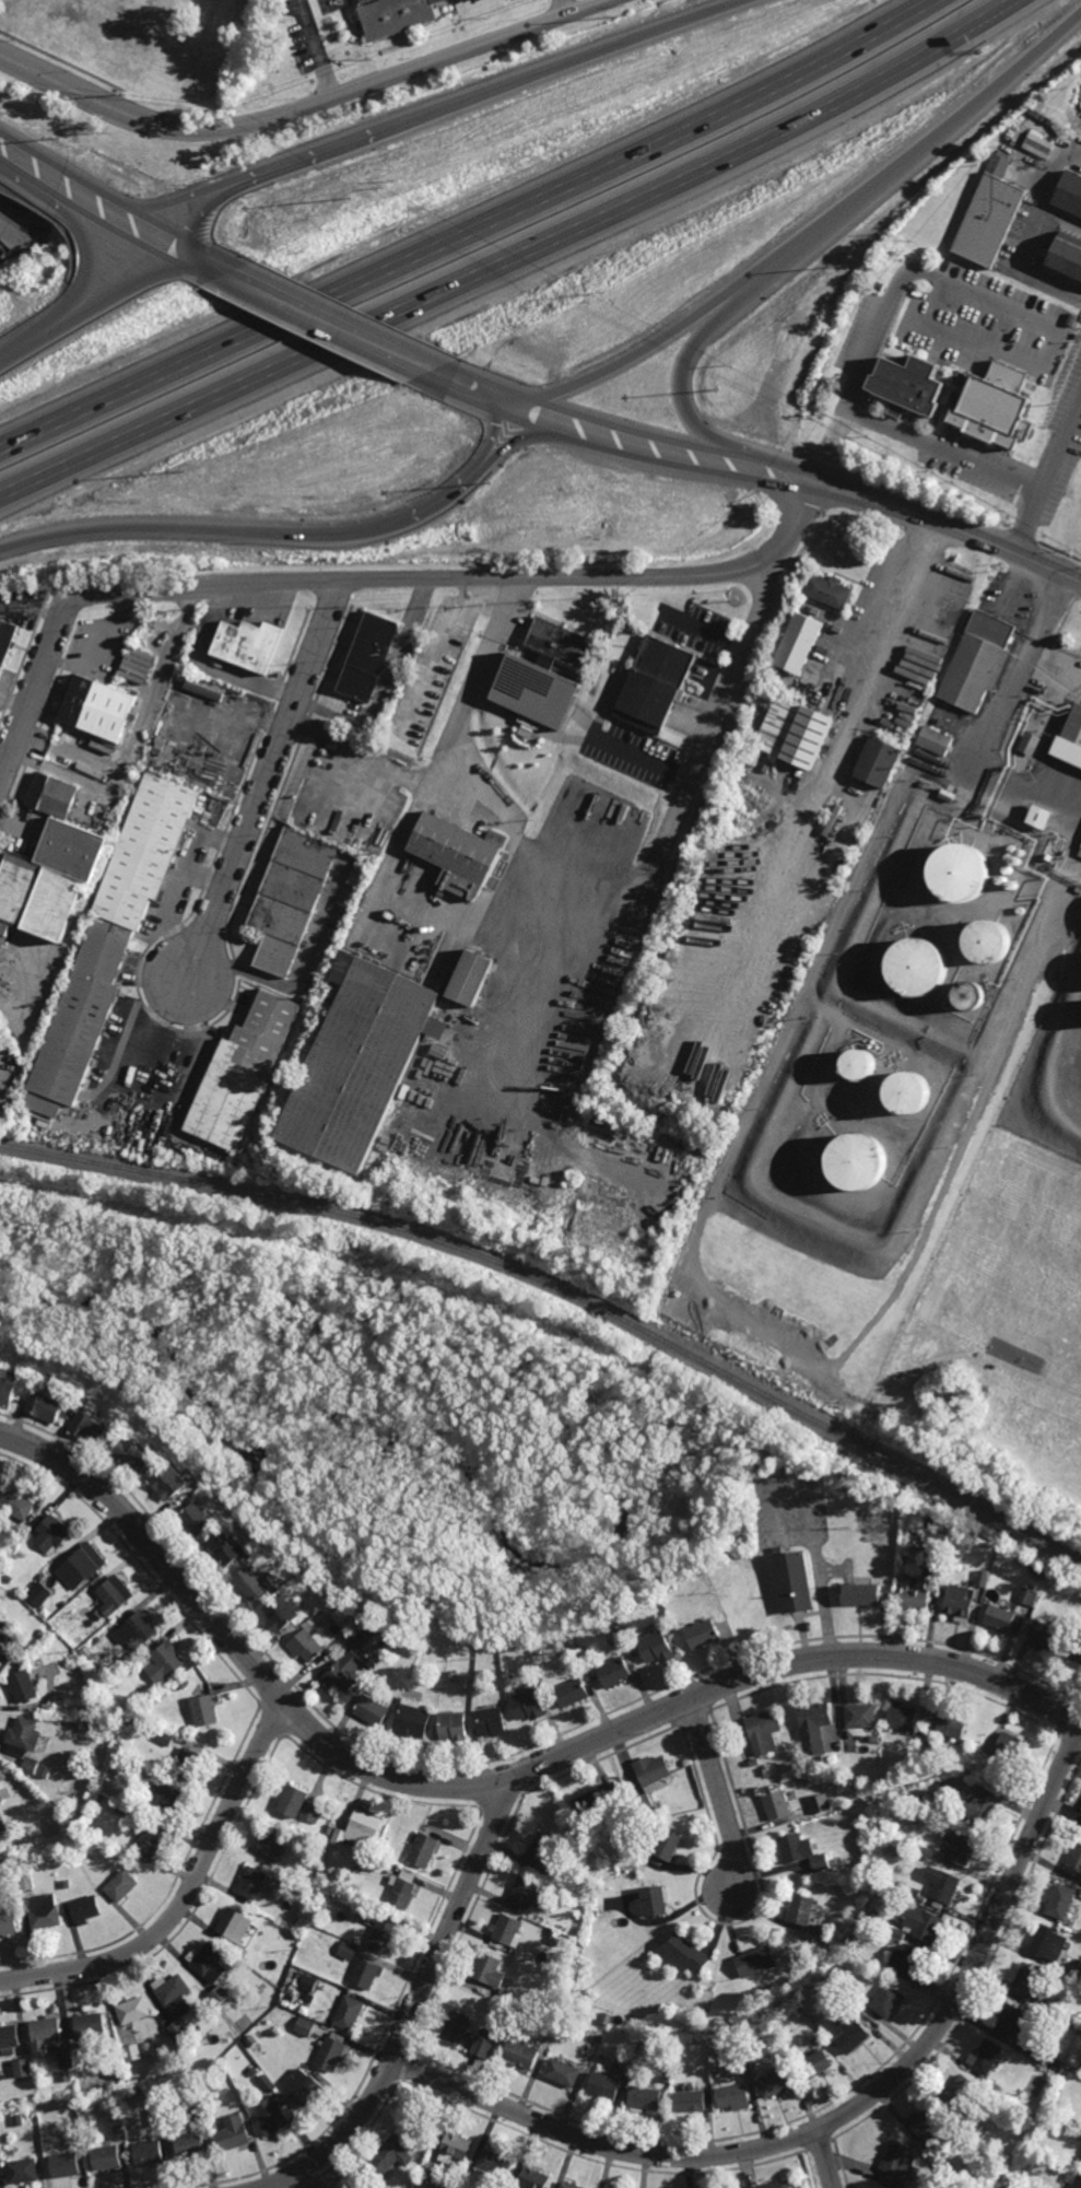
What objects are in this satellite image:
road: (563, 7)
building: (396, 15)
road: (313, 48)
road: (556, 65)
road: (302, 105)
building: (1038, 145)
road: (315, 155)
road: (912, 159)
building: (1070, 191)
road: (178, 201)
road: (210, 208)
road: (114, 211)
building: (989, 219)
road: (470, 233)
road: (1033, 234)
road: (513, 257)
building: (1067, 257)
road: (89, 269)
road: (121, 295)
road: (334, 323)
parking lot: (982, 323)
parking lot: (857, 331)
road: (21, 348)
road: (980, 350)
road: (634, 356)
road: (865, 362)
building: (910, 385)
building: (995, 406)
road: (691, 413)
road: (496, 431)
parking lot: (1066, 436)
road: (519, 440)
road: (762, 469)
road: (1049, 479)
road: (250, 534)
road: (481, 577)
flagpole: (732, 590)
building: (829, 592)
flagpole: (736, 597)
flagpole: (744, 598)
road: (32, 608)
building: (7, 640)
building: (560, 642)
building: (798, 643)
building: (248, 645)
road: (106, 655)
building: (367, 657)
building: (978, 663)
road: (211, 664)
building: (0, 665)
building: (1, 670)
road: (38, 680)
building: (654, 683)
building: (202, 690)
building: (534, 691)
road: (860, 692)
road: (149, 698)
building: (98, 707)
building: (1074, 727)
building: (796, 733)
building: (935, 741)
building: (1031, 744)
road: (4, 758)
building: (878, 761)
road: (263, 776)
building: (1039, 817)
building: (64, 828)
building: (459, 855)
building: (1080, 855)
building: (359, 864)
building: (959, 871)
storage tank: (959, 871)
building: (353, 876)
building: (36, 896)
building: (289, 896)
road: (589, 898)
building: (110, 939)
building: (987, 940)
storage tank: (987, 940)
building: (919, 964)
storage tank: (919, 964)
building: (472, 976)
building: (972, 994)
storage tank: (972, 994)
road: (156, 1042)
building: (361, 1062)
building: (860, 1064)
storage tank: (860, 1064)
building: (244, 1072)
building: (908, 1091)
storage tank: (908, 1091)
building: (858, 1161)
storage tank: (858, 1161)
railway: (563, 1290)
road: (460, 1381)
building: (7, 1392)
building: (46, 1407)
building: (91, 1430)
building: (132, 1453)
building: (169, 1478)
road: (620, 1496)
building: (15, 1503)
building: (198, 1517)
building: (52, 1532)
building: (933, 1540)
building: (228, 1547)
building: (82, 1565)
building: (957, 1565)
building: (982, 1577)
building: (8, 1578)
building: (795, 1578)
building: (251, 1581)
building: (916, 1590)
building: (861, 1591)
building: (38, 1593)
building: (1025, 1594)
building: (113, 1595)
building: (1080, 1595)
building: (959, 1601)
building: (281, 1612)
building: (999, 1616)
building: (678, 1626)
building: (136, 1630)
building: (397, 1630)
building: (705, 1631)
building: (40, 1633)
building: (349, 1633)
building: (368, 1634)
building: (1044, 1637)
building: (433, 1642)
building: (661, 1643)
building: (307, 1645)
building: (1, 1647)
building: (1077, 1652)
building: (572, 1653)
building: (39, 1662)
building: (164, 1662)
building: (618, 1669)
building: (343, 1672)
building: (180, 1684)
building: (23, 1685)
building: (573, 1690)
building: (527, 1704)
building: (371, 1709)
building: (204, 1710)
building: (861, 1715)
building: (902, 1716)
building: (411, 1720)
building: (491, 1721)
building: (81, 1724)
building: (952, 1724)
building: (453, 1725)
building: (814, 1725)
building: (763, 1732)
building: (164, 1736)
building: (876, 1740)
building: (24, 1741)
building: (1010, 1745)
building: (928, 1750)
building: (819, 1758)
building: (754, 1762)
building: (924, 1762)
building: (186, 1763)
building: (138, 1769)
building: (651, 1769)
building: (45, 1770)
building: (2, 1772)
building: (818, 1781)
road: (489, 1783)
building: (948, 1790)
road: (717, 1793)
building: (1, 1797)
building: (99, 1798)
building: (165, 1799)
building: (598, 1800)
building: (644, 1801)
building: (820, 1803)
building: (298, 1804)
building: (776, 1804)
building: (982, 1813)
building: (646, 1814)
building: (356, 1828)
building: (327, 1829)
building: (637, 1832)
building: (0, 1834)
building: (151, 1839)
building: (274, 1840)
building: (668, 1845)
building: (962, 1846)
building: (381, 1848)
building: (422, 1849)
building: (542, 1851)
building: (801, 1851)
building: (929, 1852)
building: (1074, 1862)
building: (592, 1867)
building: (357, 1869)
building: (306, 1879)
building: (24, 1880)
building: (251, 1882)
building: (64, 1883)
building: (943, 1884)
building: (121, 1885)
building: (268, 1888)
building: (402, 1889)
building: (524, 1892)
building: (913, 1893)
road: (187, 1896)
building: (655, 1902)
building: (1059, 1902)
building: (362, 1908)
building: (84, 1909)
building: (801, 1909)
building: (44, 1911)
building: (580, 1911)
building: (595, 1914)
building: (845, 1920)
building: (8, 1922)
building: (235, 1924)
building: (925, 1924)
building: (505, 1931)
building: (897, 1933)
building: (383, 1935)
building: (823, 1938)
building: (853, 1940)
building: (555, 1942)
building: (1047, 1945)
building: (348, 1951)
building: (688, 1954)
building: (754, 1962)
building: (907, 1963)
building: (210, 1964)
building: (486, 1970)
building: (365, 1973)
building: (1078, 1974)
building: (842, 1977)
building: (308, 1982)
building: (1027, 1982)
building: (173, 1990)
building: (772, 1992)
building: (219, 1996)
building: (509, 1998)
building: (889, 2002)
road: (418, 2006)
building: (797, 2006)
building: (133, 2010)
building: (1051, 2011)
building: (348, 2013)
building: (1009, 2023)
building: (91, 2025)
building: (305, 2026)
building: (456, 2028)
building: (178, 2031)
building: (849, 2032)
building: (45, 2033)
building: (258, 2033)
building: (487, 2034)
building: (713, 2036)
building: (9, 2037)
building: (681, 2040)
building: (483, 2048)
building: (132, 2052)
building: (330, 2054)
building: (521, 2055)
building: (1038, 2056)
building: (736, 2057)
building: (67, 2059)
building: (984, 2059)
building: (815, 2066)
building: (22, 2068)
building: (251, 2071)
building: (563, 2073)
building: (66, 2075)
building: (266, 2082)
building: (212, 2084)
building: (775, 2084)
building: (607, 2087)
building: (992, 2088)
building: (306, 2092)
building: (959, 2093)
building: (733, 2098)
building: (645, 2099)
building: (690, 2103)
building: (197, 2111)
building: (1024, 2113)
building: (156, 2117)
road: (841, 2117)
building: (271, 2118)
building: (17, 2119)
building: (964, 2121)
building: (931, 2127)
building: (118, 2129)
building: (232, 2134)
building: (71, 2140)
building: (189, 2145)
building: (457, 2148)
building: (149, 2153)
building: (105, 2157)
building: (389, 2158)
road: (827, 2160)
building: (1080, 2162)
building: (63, 2165)
building: (494, 2165)
building: (1080, 2165)
building: (897, 2167)
building: (22, 2172)
building: (933, 2176)
road: (308, 2179)
building: (533, 2179)
building: (1077, 2184)
road: (274, 2186)
building: (404, 2186)
building: (424, 2186)
building: (568, 2186)
building: (780, 2186)
building: (606, 2187)

